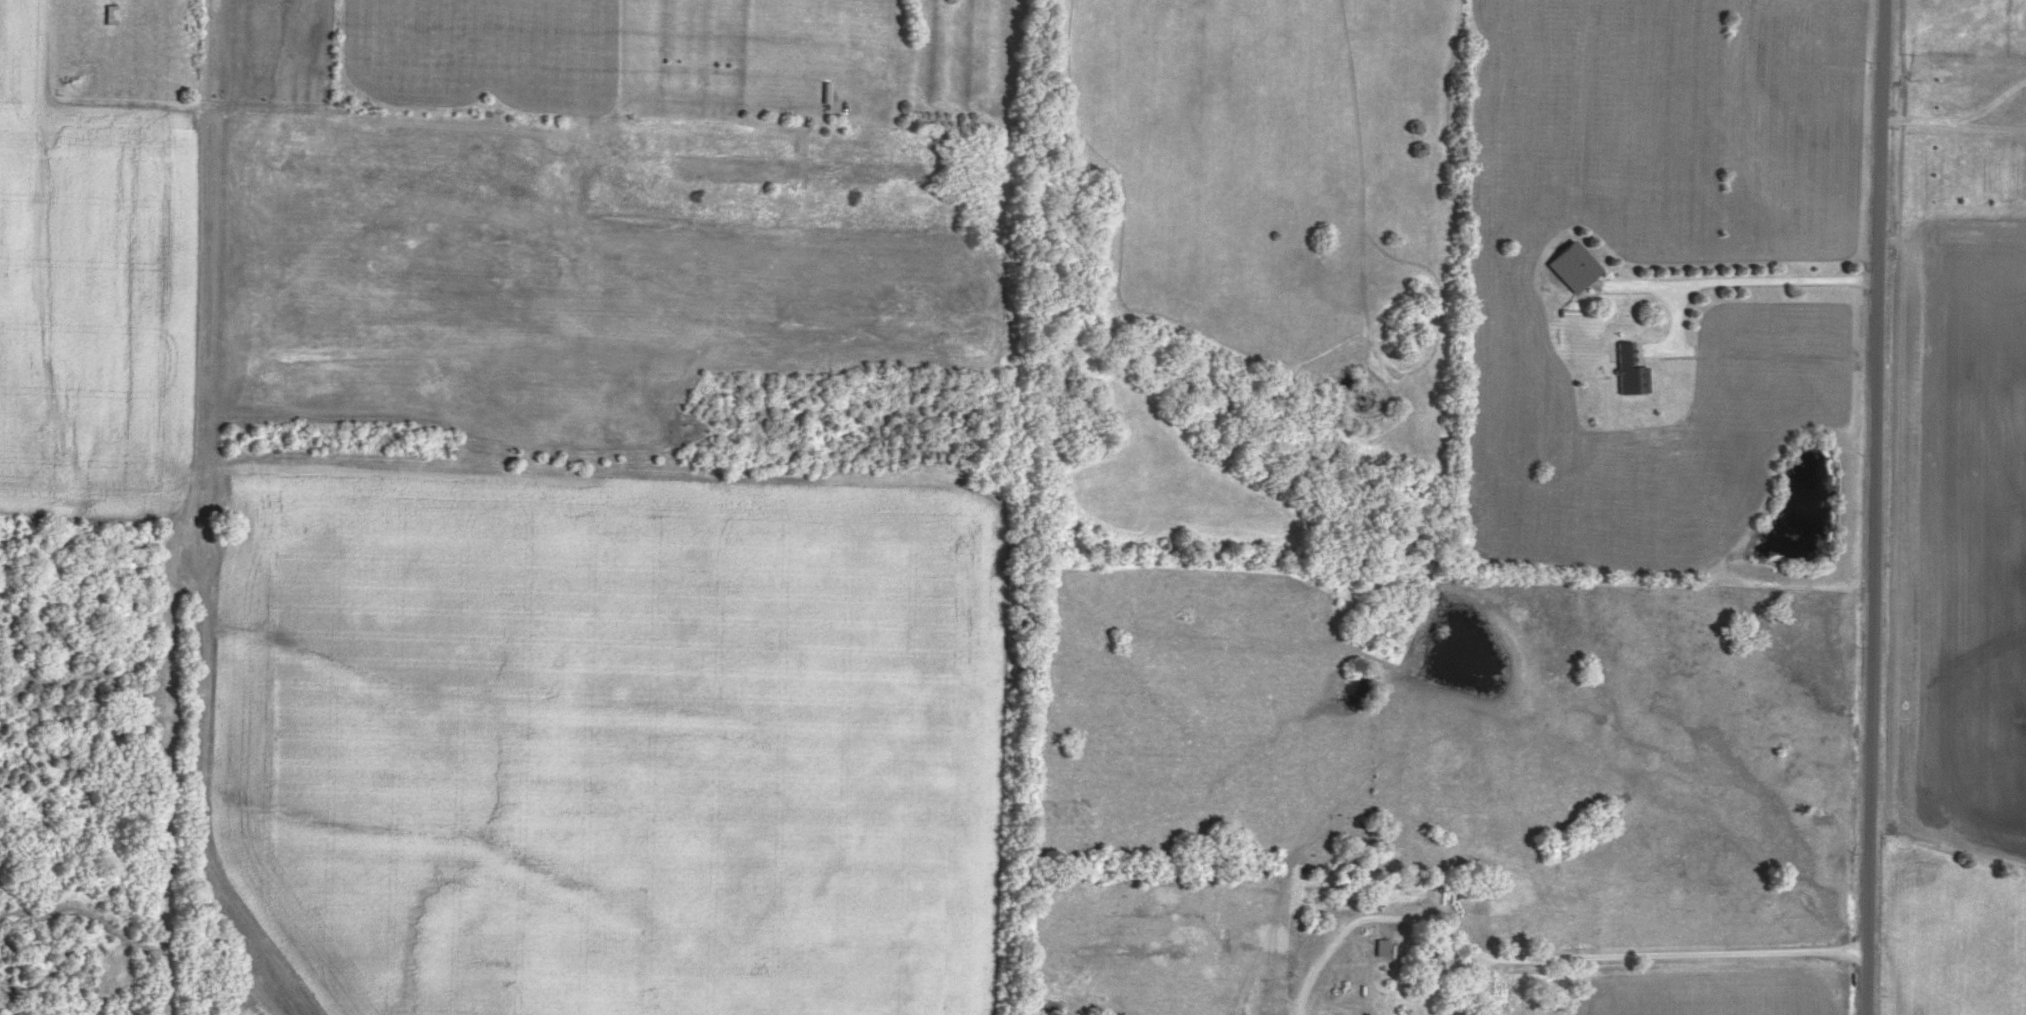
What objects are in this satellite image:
building: (110, 13)
road: (1995, 103)
road: (1921, 121)
road: (1994, 128)
road: (1896, 242)
building: (1573, 264)
road: (1737, 282)
road: (1677, 332)
building: (1631, 370)
road: (1870, 507)
road: (1371, 926)
building: (1381, 945)
road: (1647, 960)

